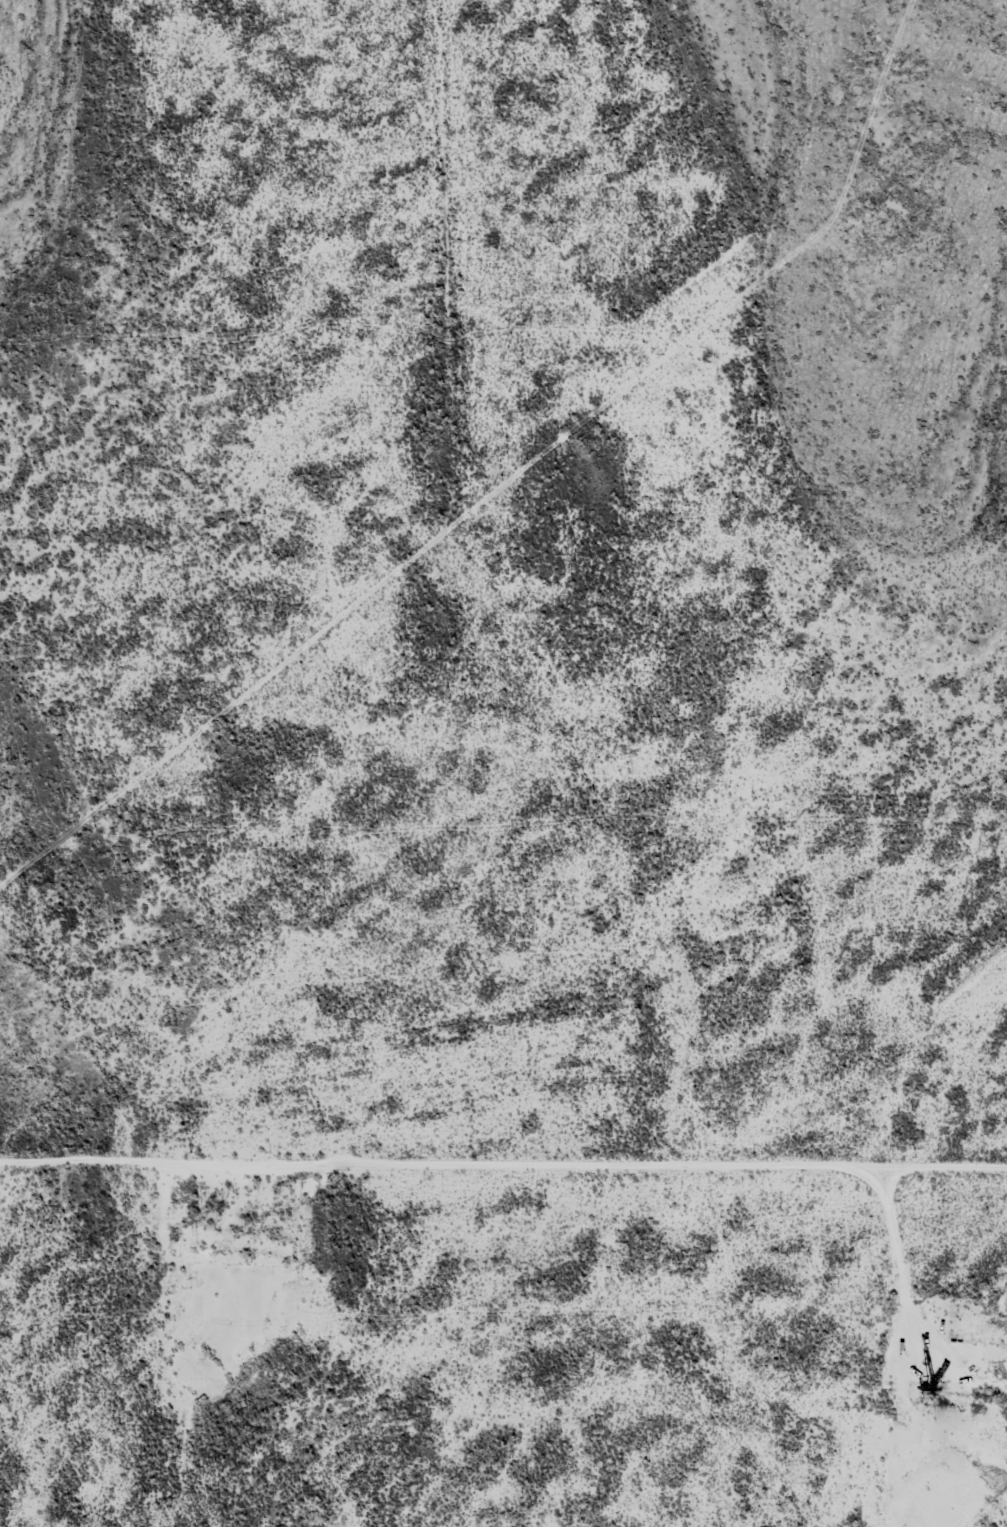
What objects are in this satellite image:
road: (515, 487)

